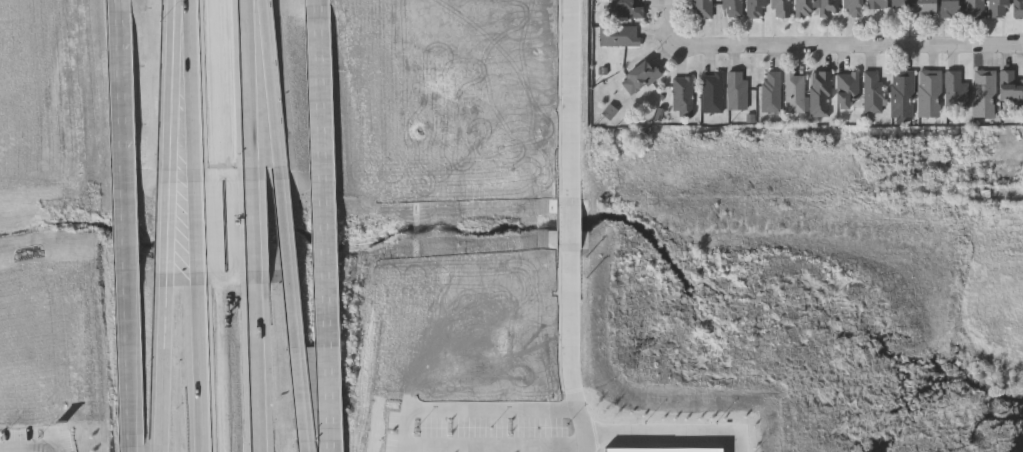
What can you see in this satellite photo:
building: (874, 4)
building: (900, 4)
road: (120, 6)
building: (828, 7)
building: (997, 7)
road: (318, 8)
building: (624, 8)
building: (731, 8)
building: (755, 8)
building: (780, 8)
building: (803, 8)
building: (852, 8)
building: (924, 8)
building: (948, 8)
building: (973, 8)
building: (1017, 8)
building: (701, 9)
road: (676, 14)
road: (19, 16)
building: (618, 35)
road: (846, 45)
road: (16, 52)
building: (638, 76)
road: (270, 85)
road: (172, 87)
road: (189, 87)
road: (26, 88)
road: (250, 88)
building: (845, 88)
building: (735, 89)
building: (1009, 89)
building: (770, 91)
building: (794, 91)
building: (871, 91)
building: (955, 91)
building: (681, 92)
building: (712, 92)
building: (819, 93)
building: (901, 93)
building: (928, 93)
building: (983, 93)
road: (129, 222)
road: (325, 222)
road: (253, 223)
road: (164, 225)
road: (195, 225)
road: (570, 226)
road: (292, 300)
road: (257, 361)
road: (160, 363)
road: (199, 363)
road: (474, 407)
road: (671, 433)
road: (332, 439)
road: (306, 440)
road: (132, 442)
road: (494, 445)
road: (26, 448)

